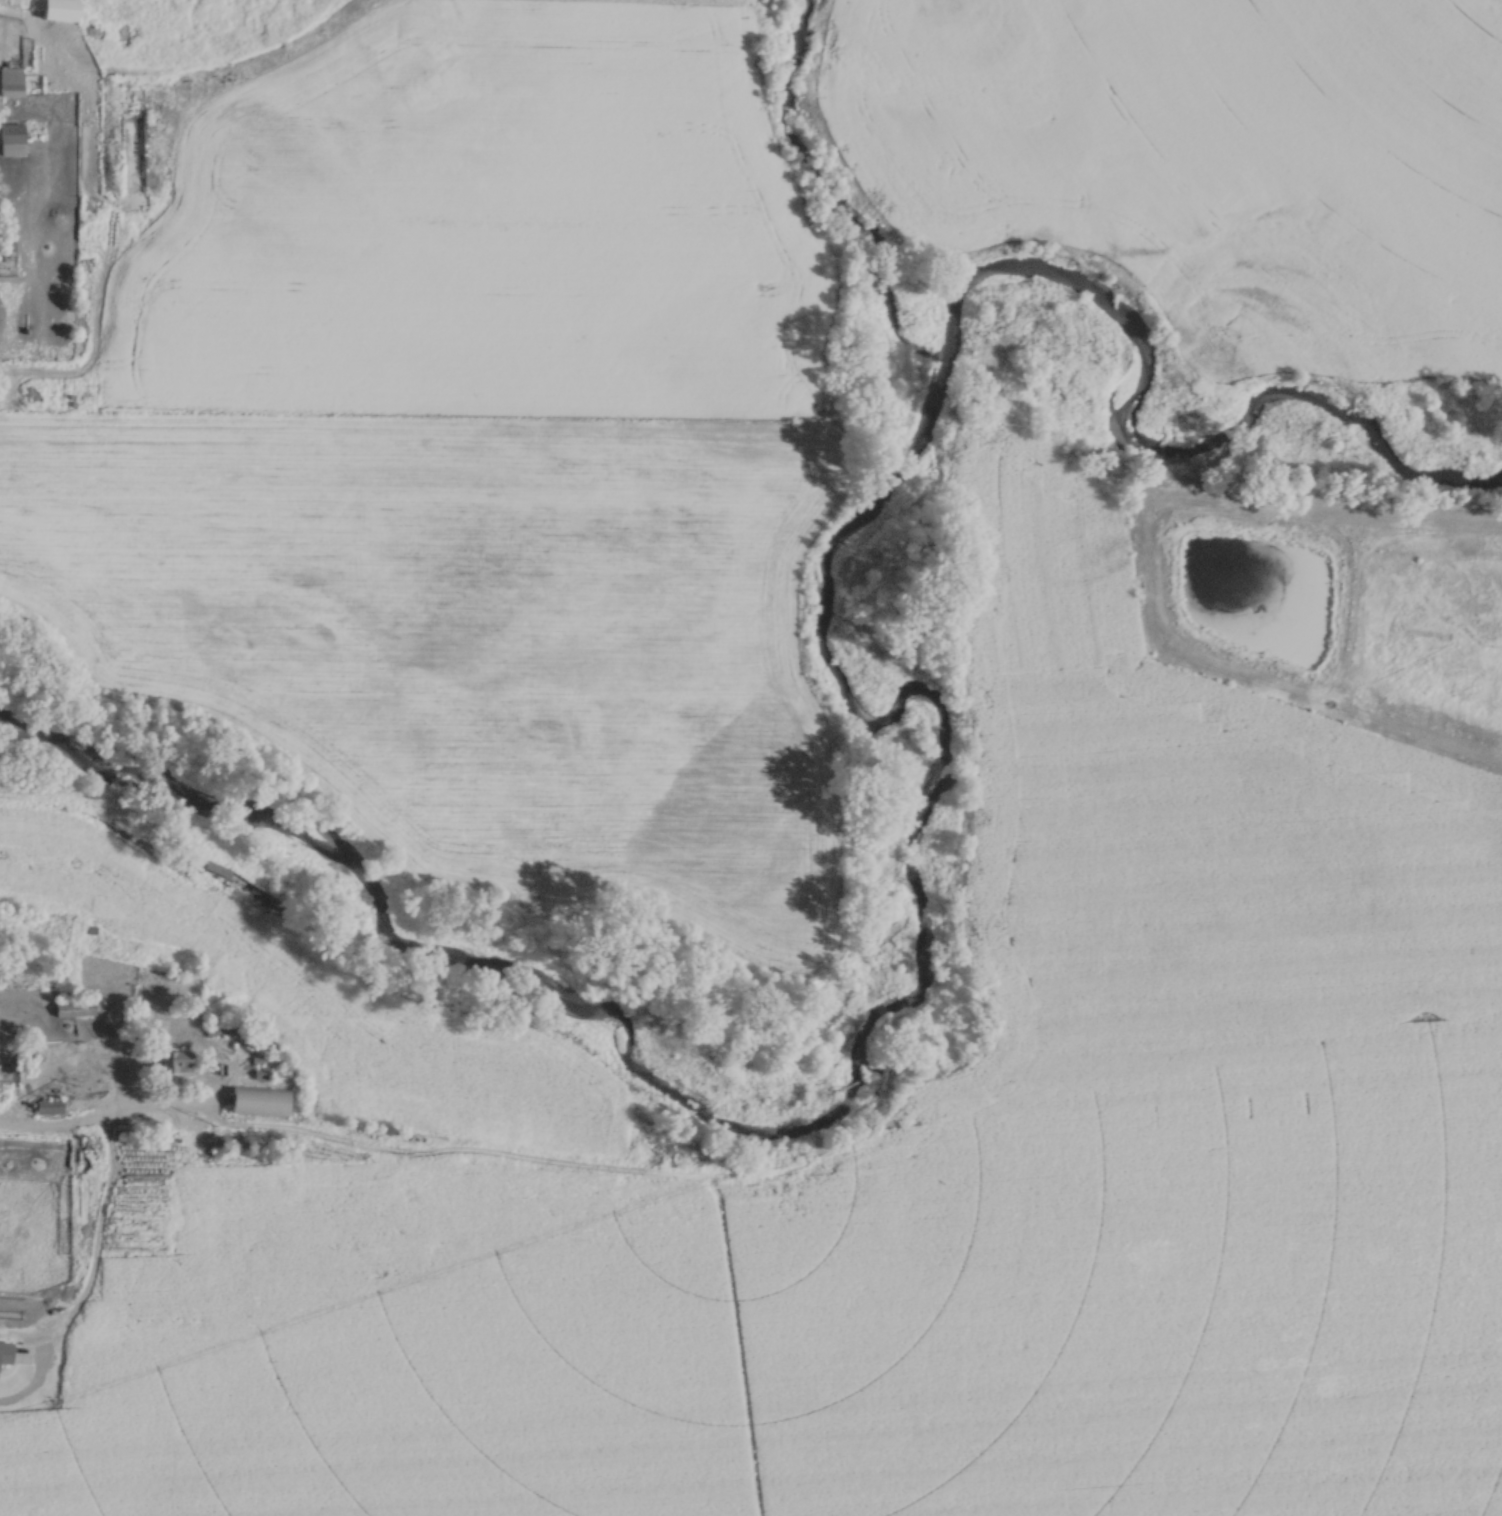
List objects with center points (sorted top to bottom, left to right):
building: (63, 11)
building: (11, 81)
building: (12, 140)
building: (73, 1008)
building: (218, 1030)
building: (175, 1062)
building: (259, 1074)
building: (257, 1101)
building: (48, 1106)
road: (97, 1130)

